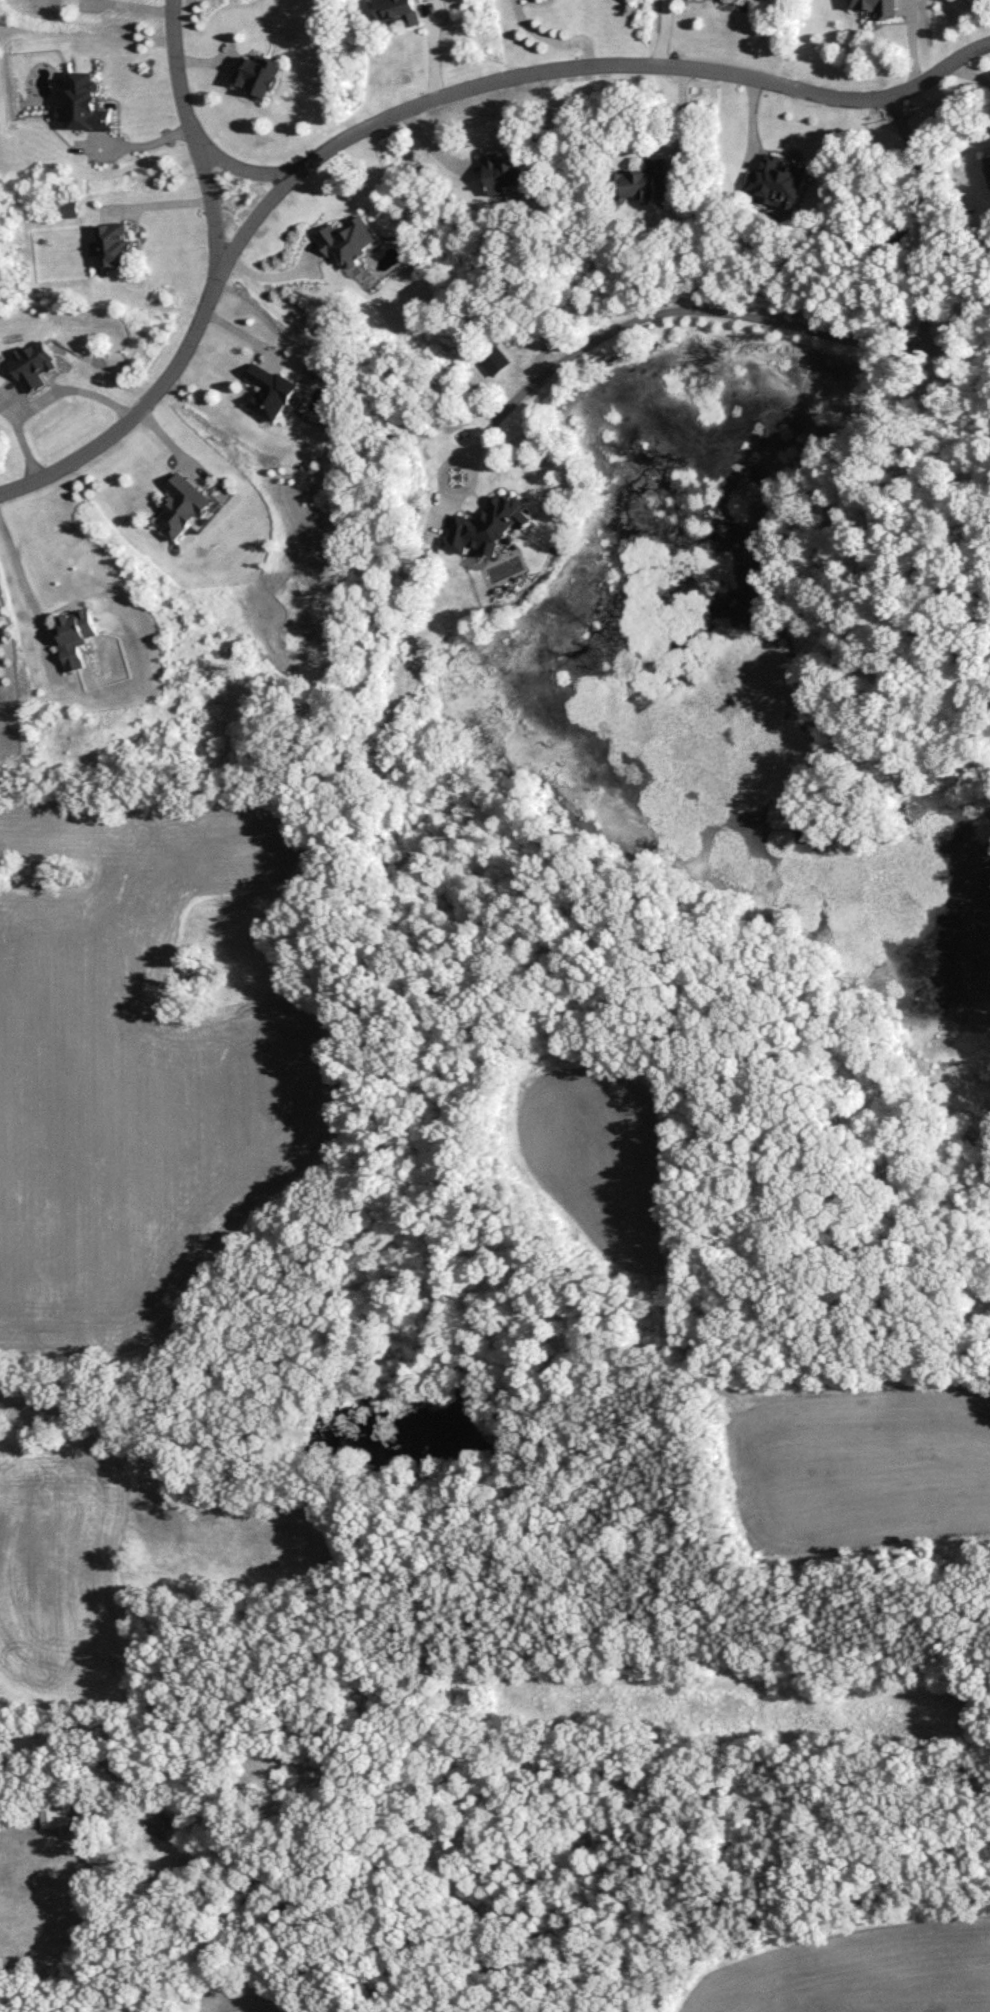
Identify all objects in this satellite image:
building: (876, 7)
building: (398, 10)
road: (550, 39)
building: (260, 75)
road: (969, 75)
building: (88, 103)
road: (415, 103)
road: (681, 122)
road: (195, 137)
road: (434, 150)
road: (245, 166)
building: (987, 166)
building: (504, 173)
building: (643, 179)
building: (780, 181)
building: (349, 239)
building: (114, 245)
road: (792, 323)
building: (495, 359)
building: (32, 364)
building: (272, 391)
road: (45, 399)
building: (184, 506)
building: (488, 525)
road: (17, 570)
building: (74, 636)
building: (54, 1815)

